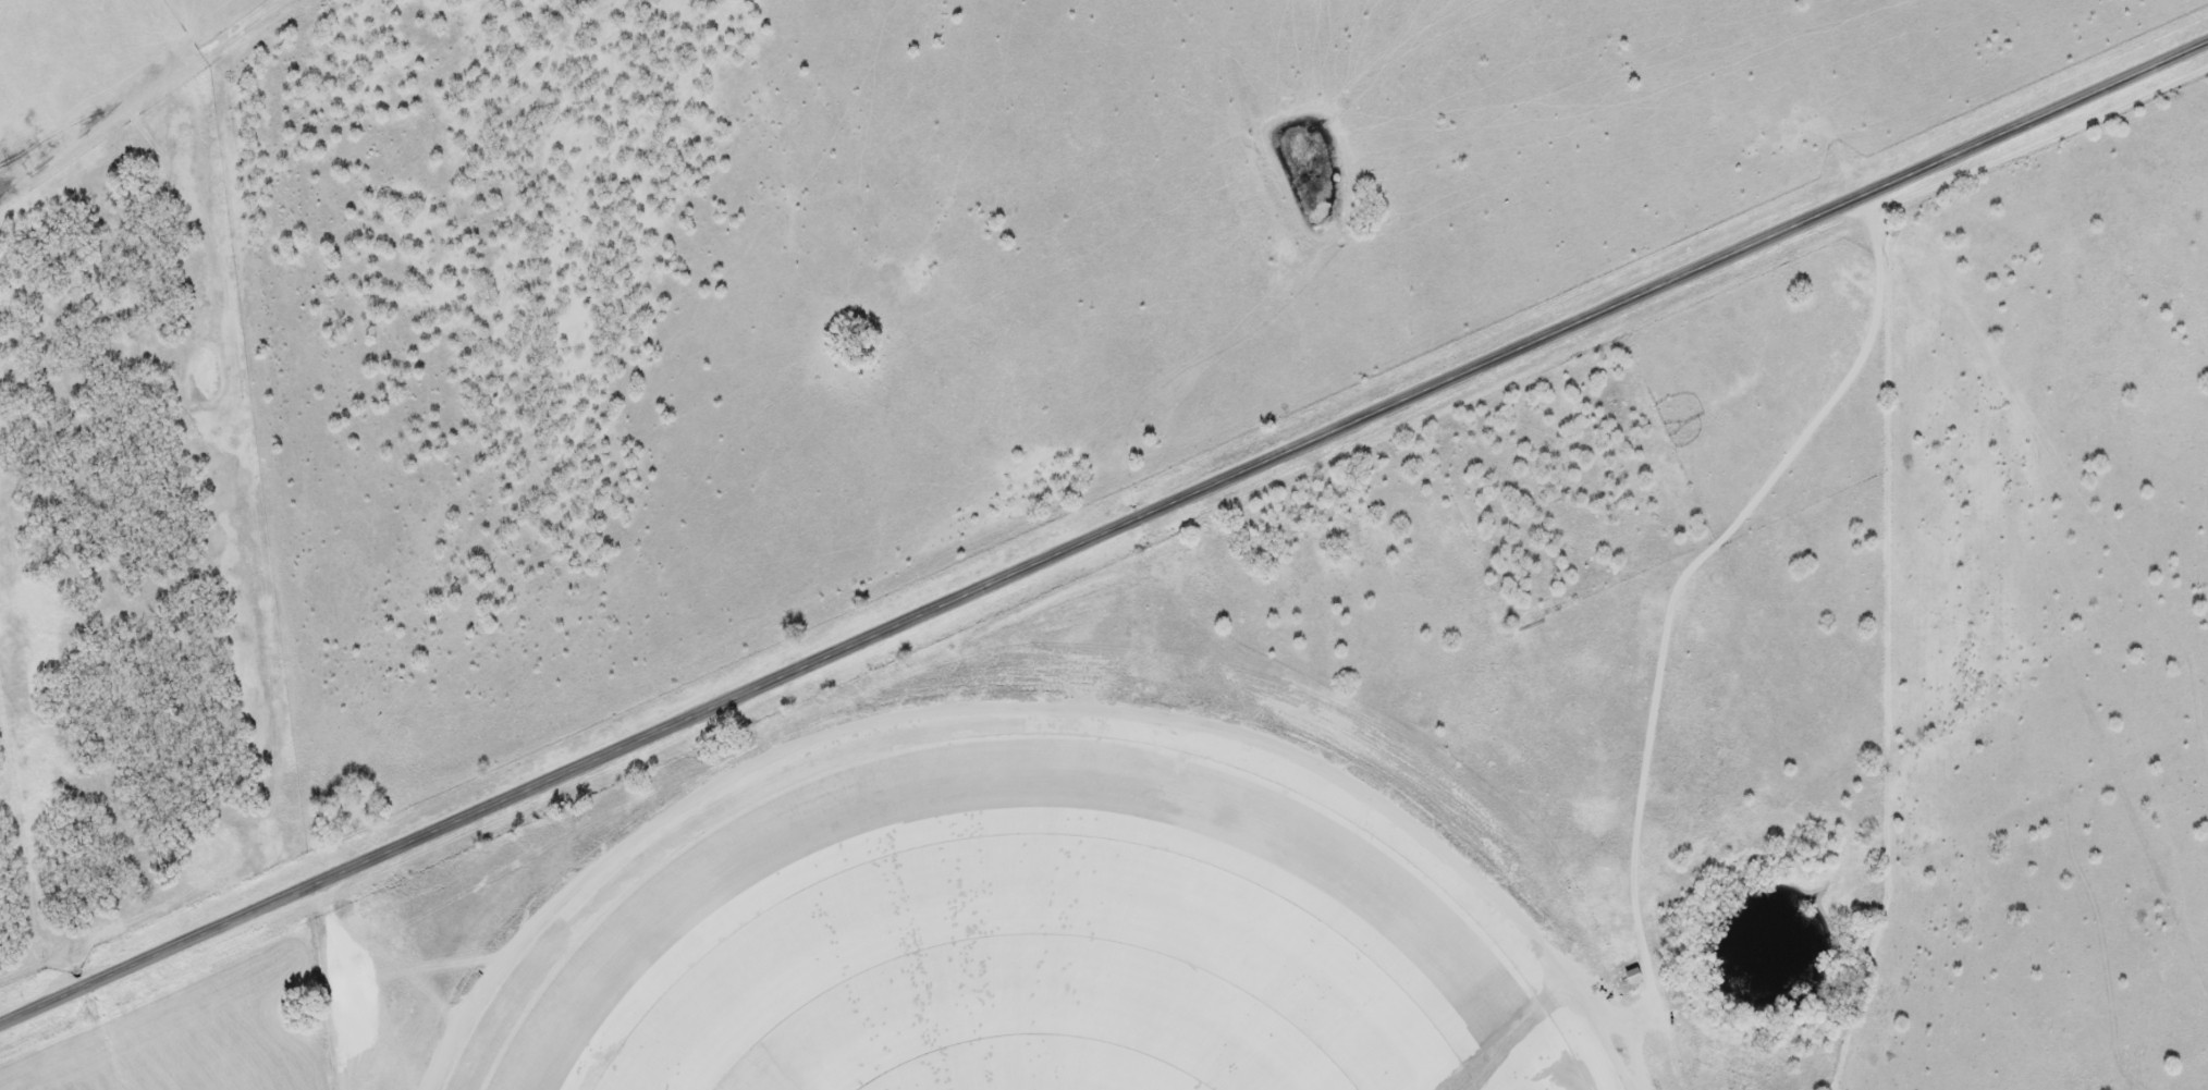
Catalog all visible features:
road: (1103, 530)
road: (1689, 565)
road: (339, 984)

